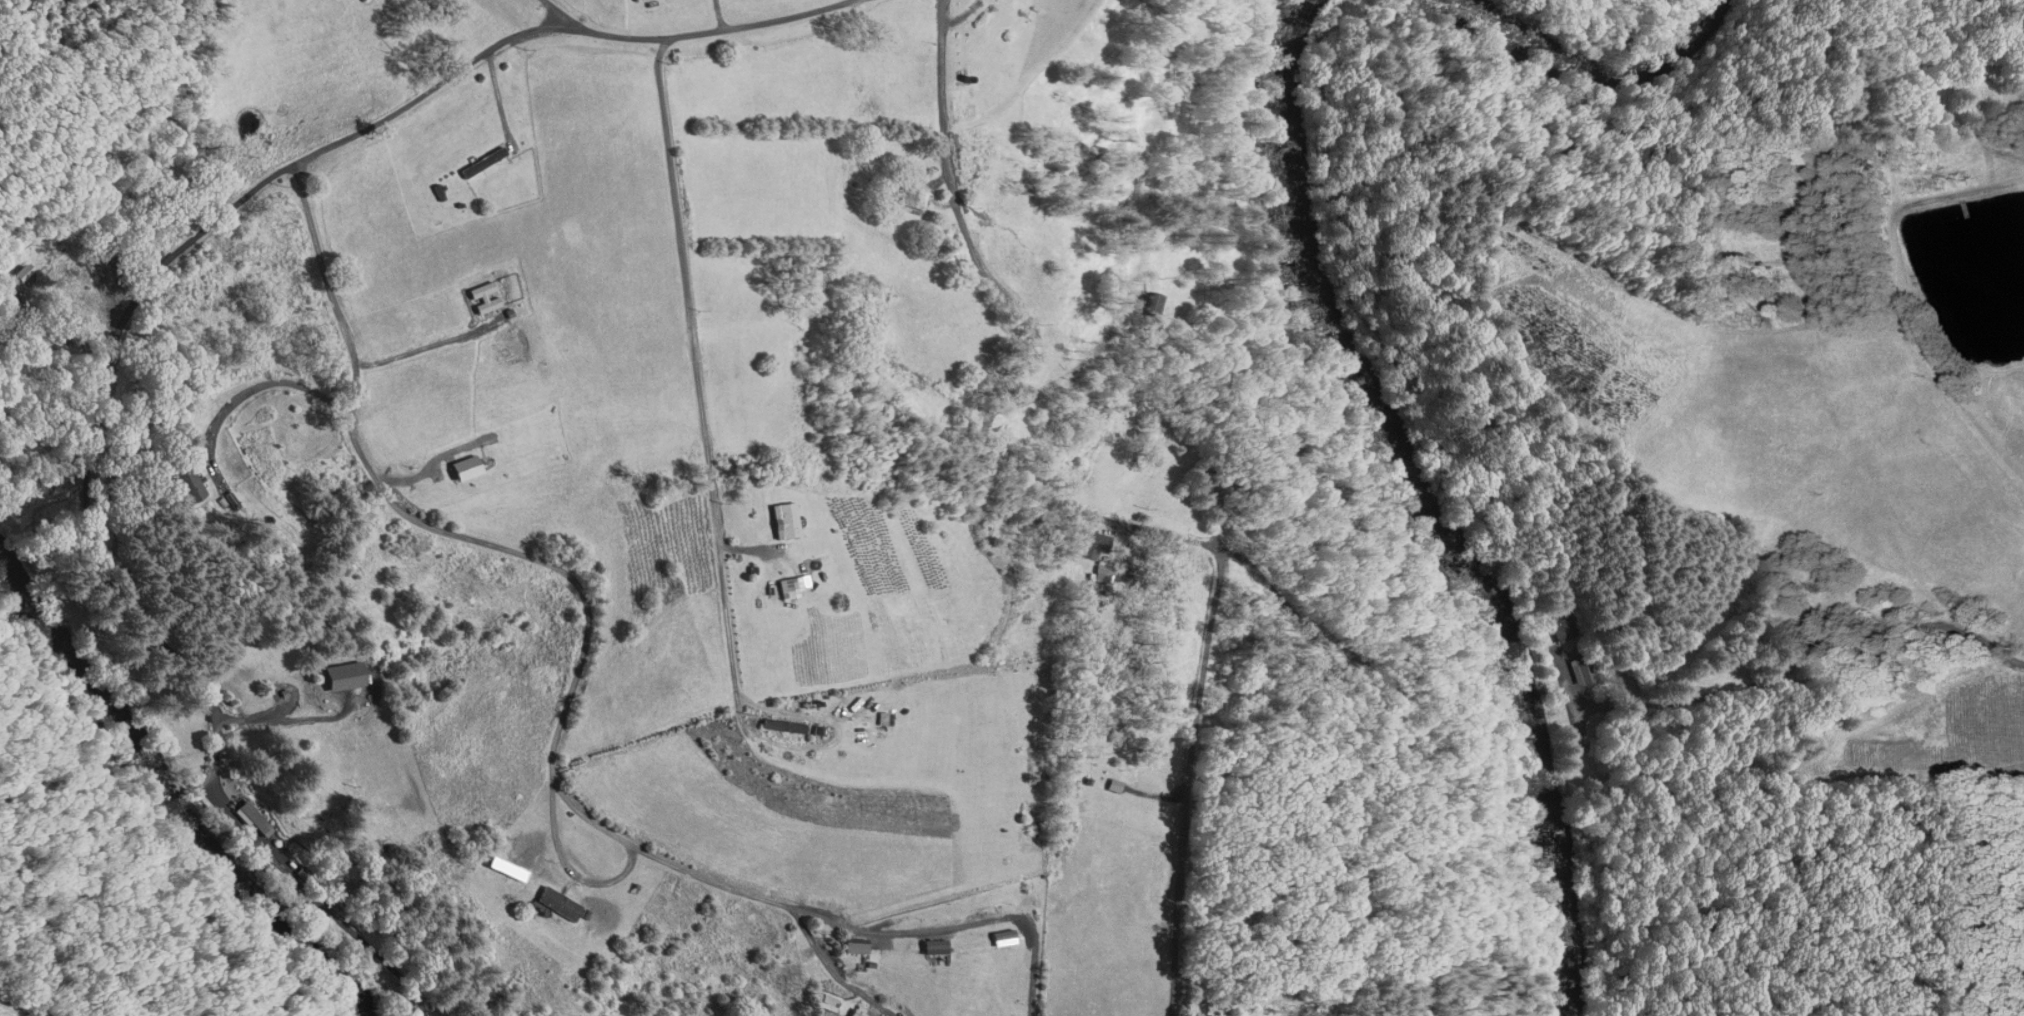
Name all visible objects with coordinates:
road: (556, 13)
river: (1611, 47)
building: (479, 162)
building: (908, 198)
building: (20, 273)
road: (1127, 296)
building: (478, 298)
building: (1144, 304)
road: (123, 318)
road: (697, 399)
building: (179, 485)
river: (1447, 504)
road: (1100, 516)
building: (787, 519)
building: (1096, 545)
road: (536, 562)
building: (1105, 574)
building: (1426, 582)
building: (1100, 599)
building: (1563, 626)
building: (340, 676)
building: (778, 726)
building: (1115, 734)
building: (1081, 749)
road: (1181, 780)
river: (186, 782)
road: (1336, 847)
building: (554, 904)
road: (959, 925)
building: (846, 946)
building: (928, 947)
road: (1520, 969)
road: (833, 972)
building: (819, 1002)
building: (852, 1013)

